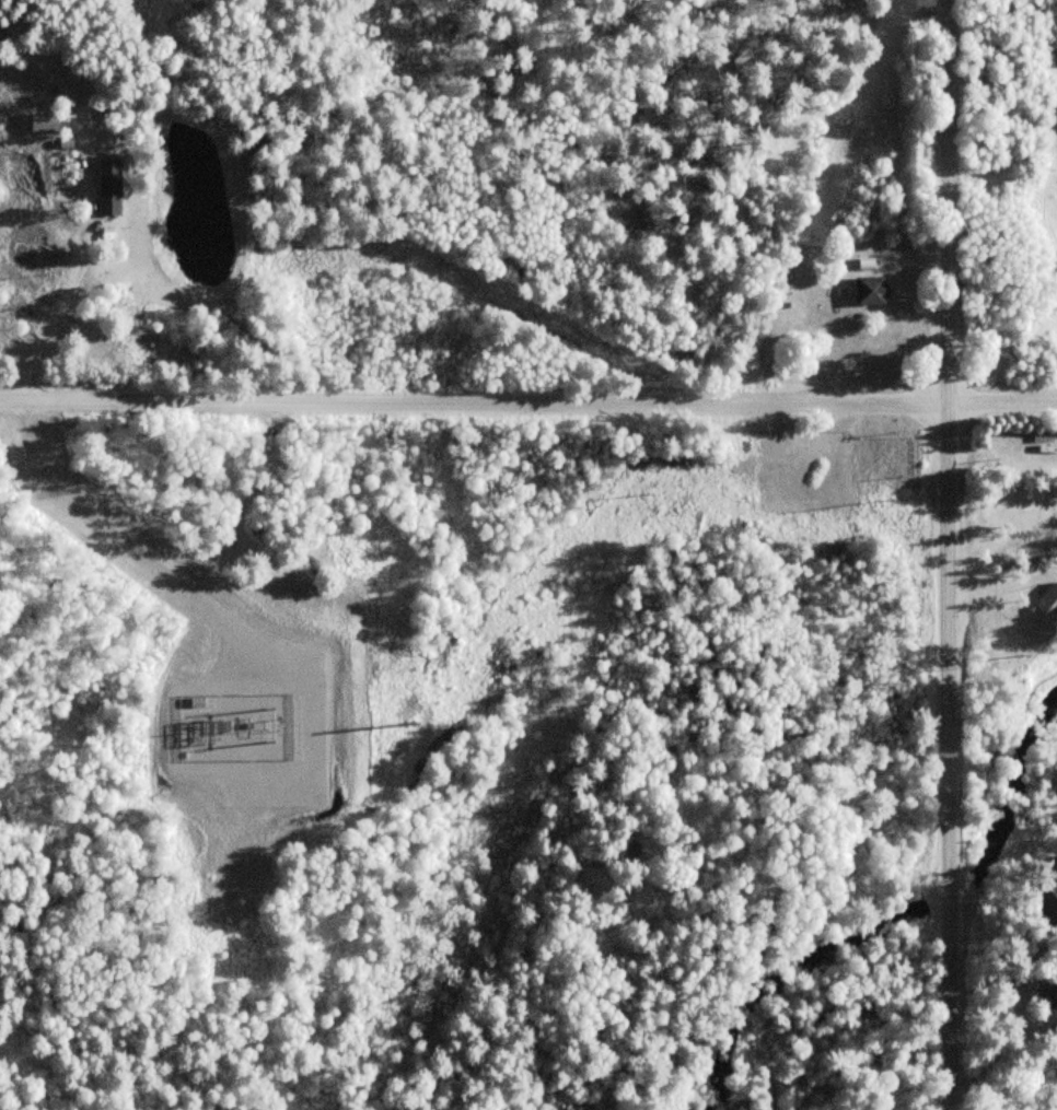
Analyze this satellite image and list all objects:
building: (82, 87)
road: (80, 265)
building: (870, 291)
road: (528, 401)
power tower: (642, 495)
road: (118, 539)
road: (945, 554)
road: (1001, 586)
building: (1048, 605)
power tower: (393, 724)
power substation: (239, 726)
river: (1011, 786)
river: (951, 889)
building: (1046, 898)
river: (790, 974)
building: (1047, 995)

